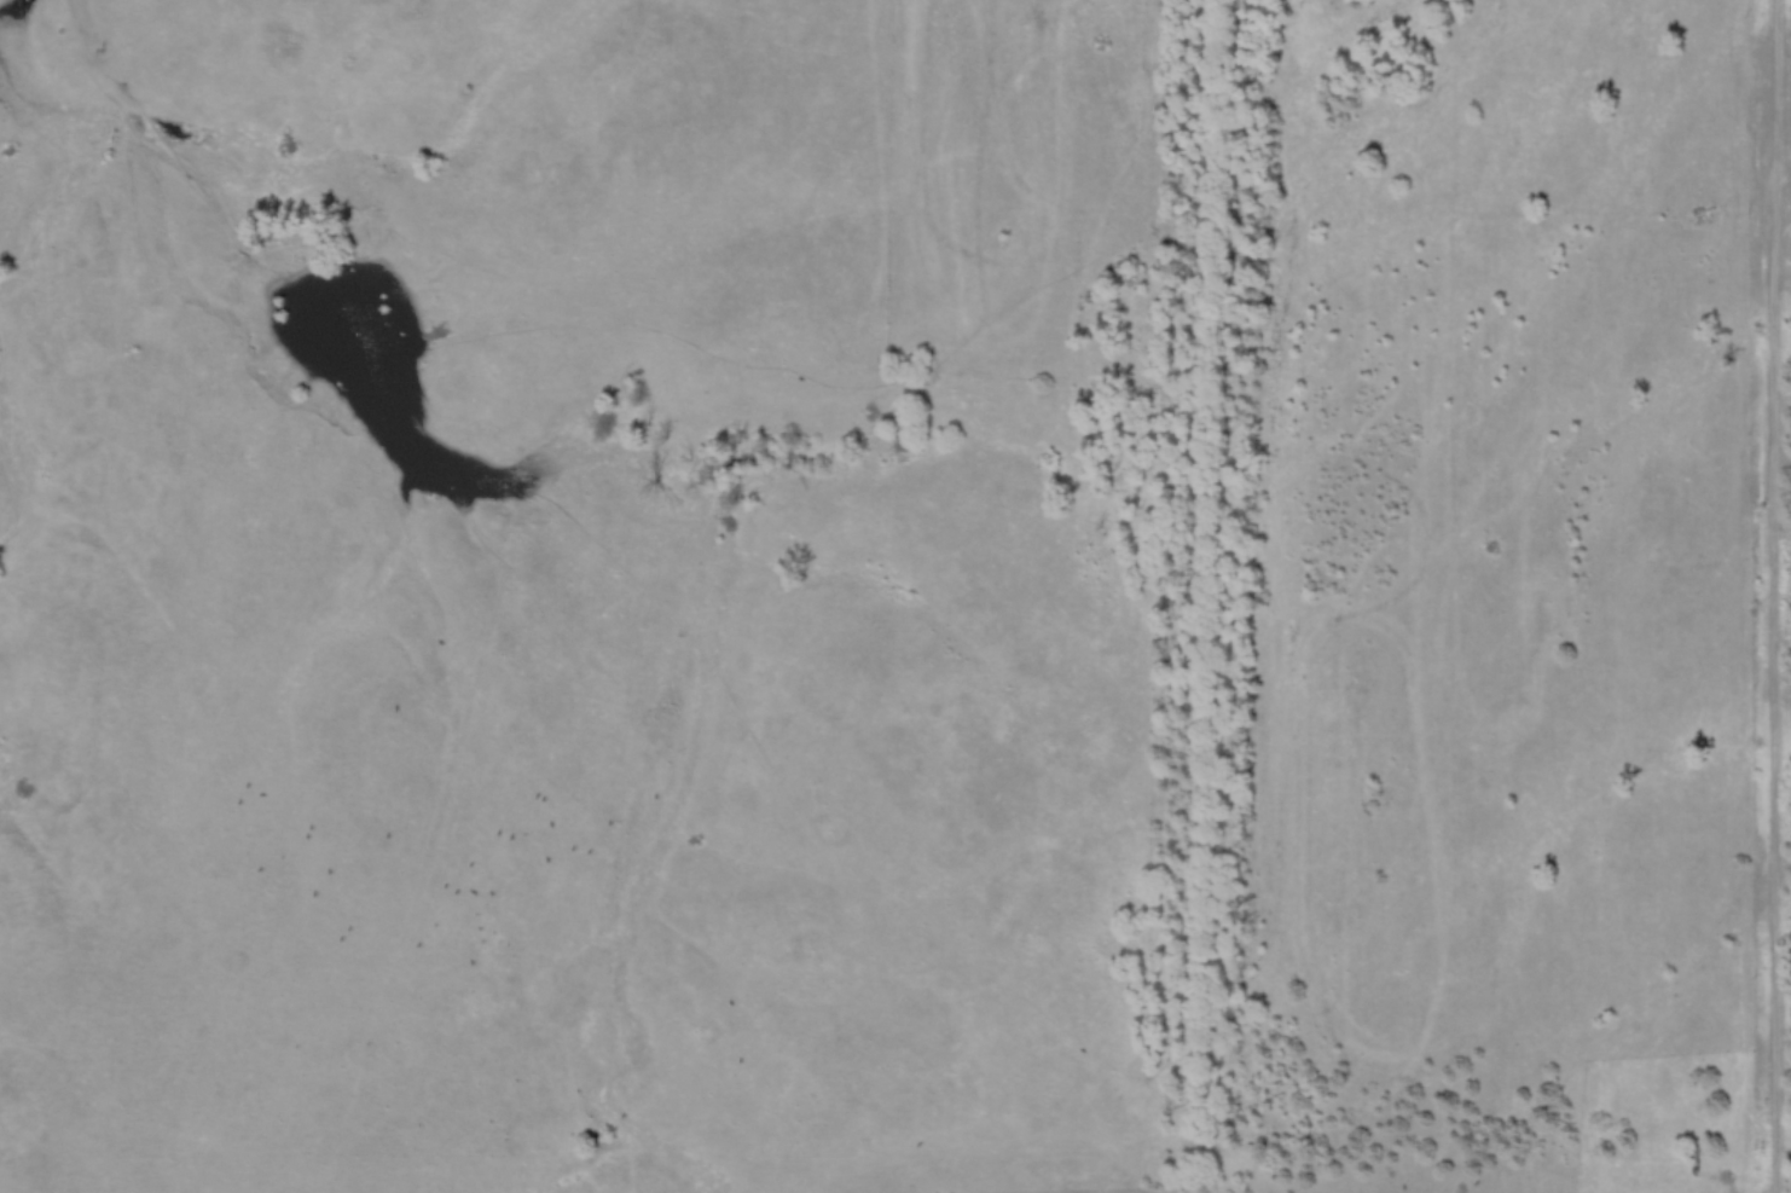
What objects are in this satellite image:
road: (1772, 596)

